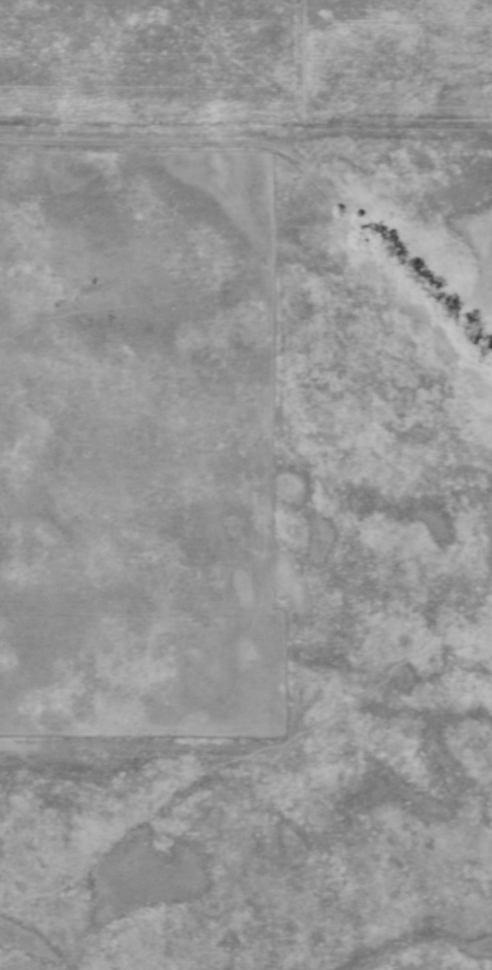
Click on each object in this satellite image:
road: (290, 155)

